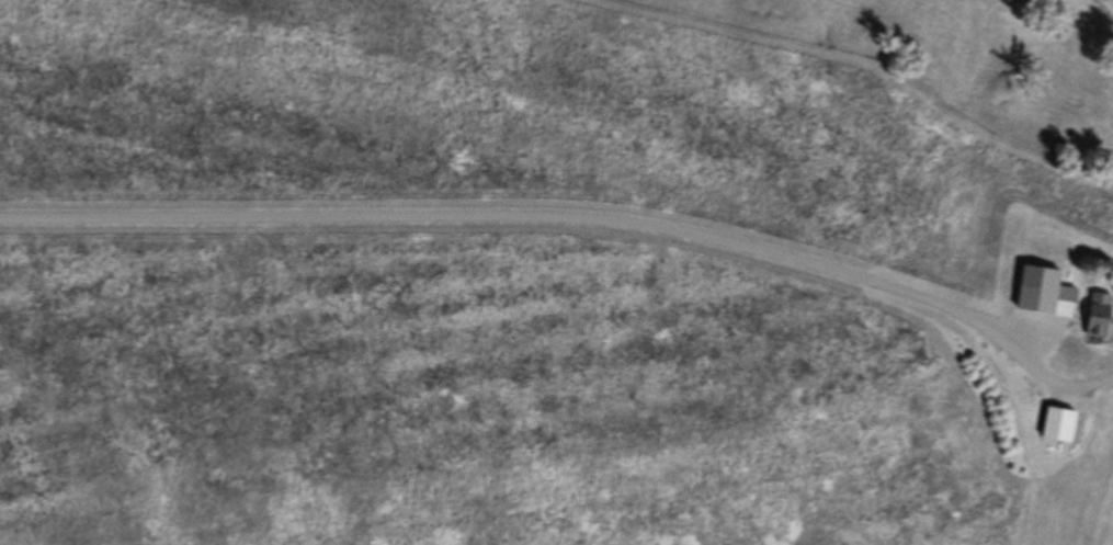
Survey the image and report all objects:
road: (477, 218)
building: (1048, 285)
building: (1100, 316)
building: (1058, 427)

